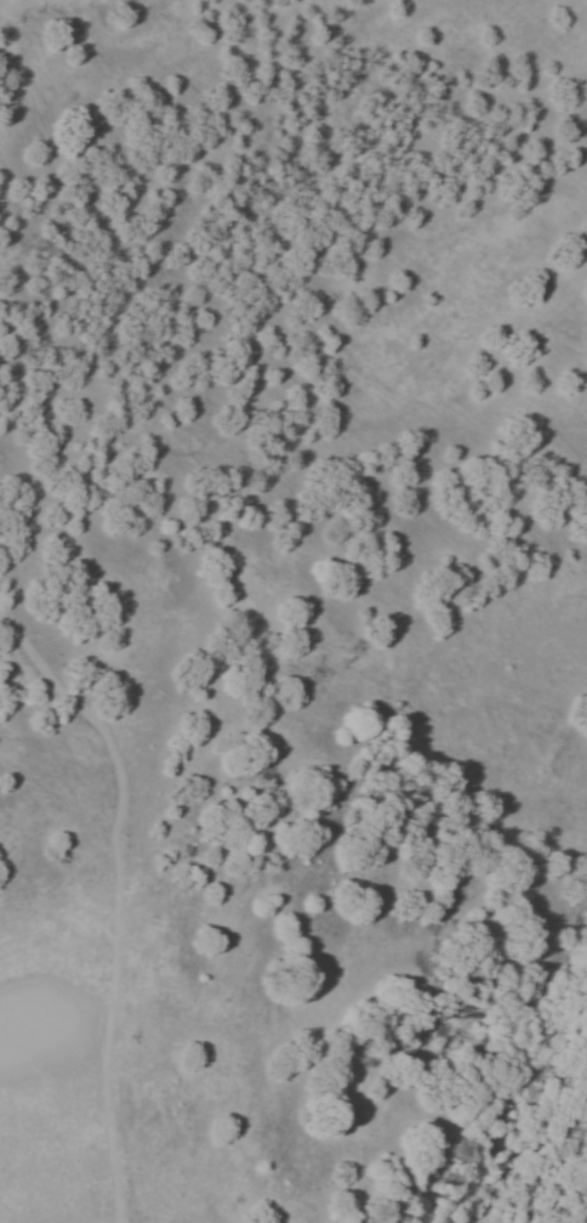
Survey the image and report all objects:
road: (116, 891)

